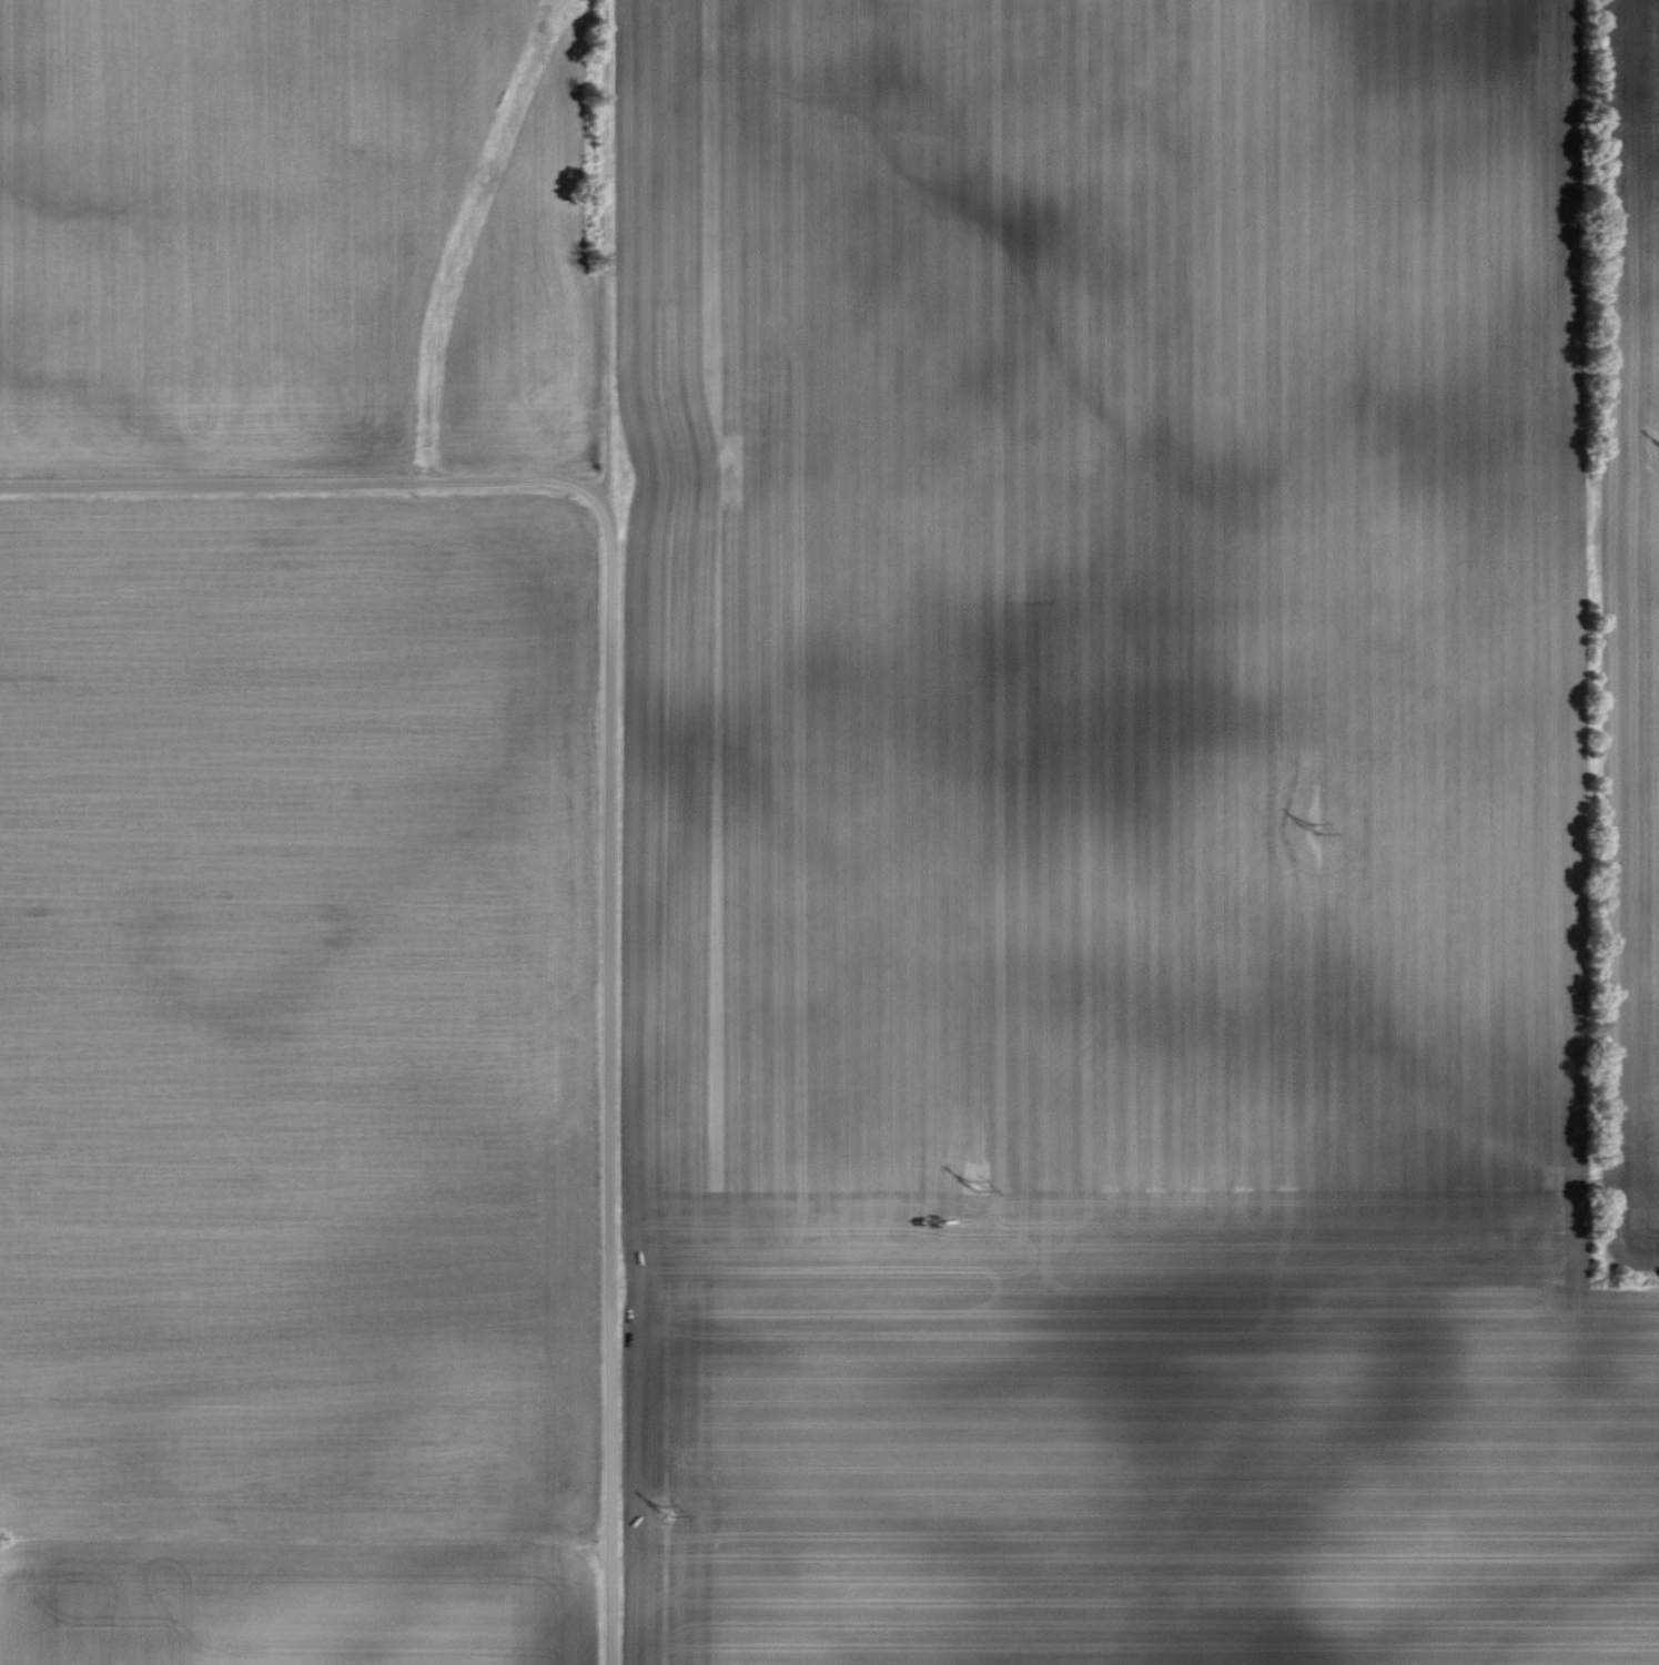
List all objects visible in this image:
road: (603, 248)
road: (297, 481)
power tower: (1314, 826)
road: (607, 1077)
power tower: (971, 1187)
power tower: (661, 1512)

